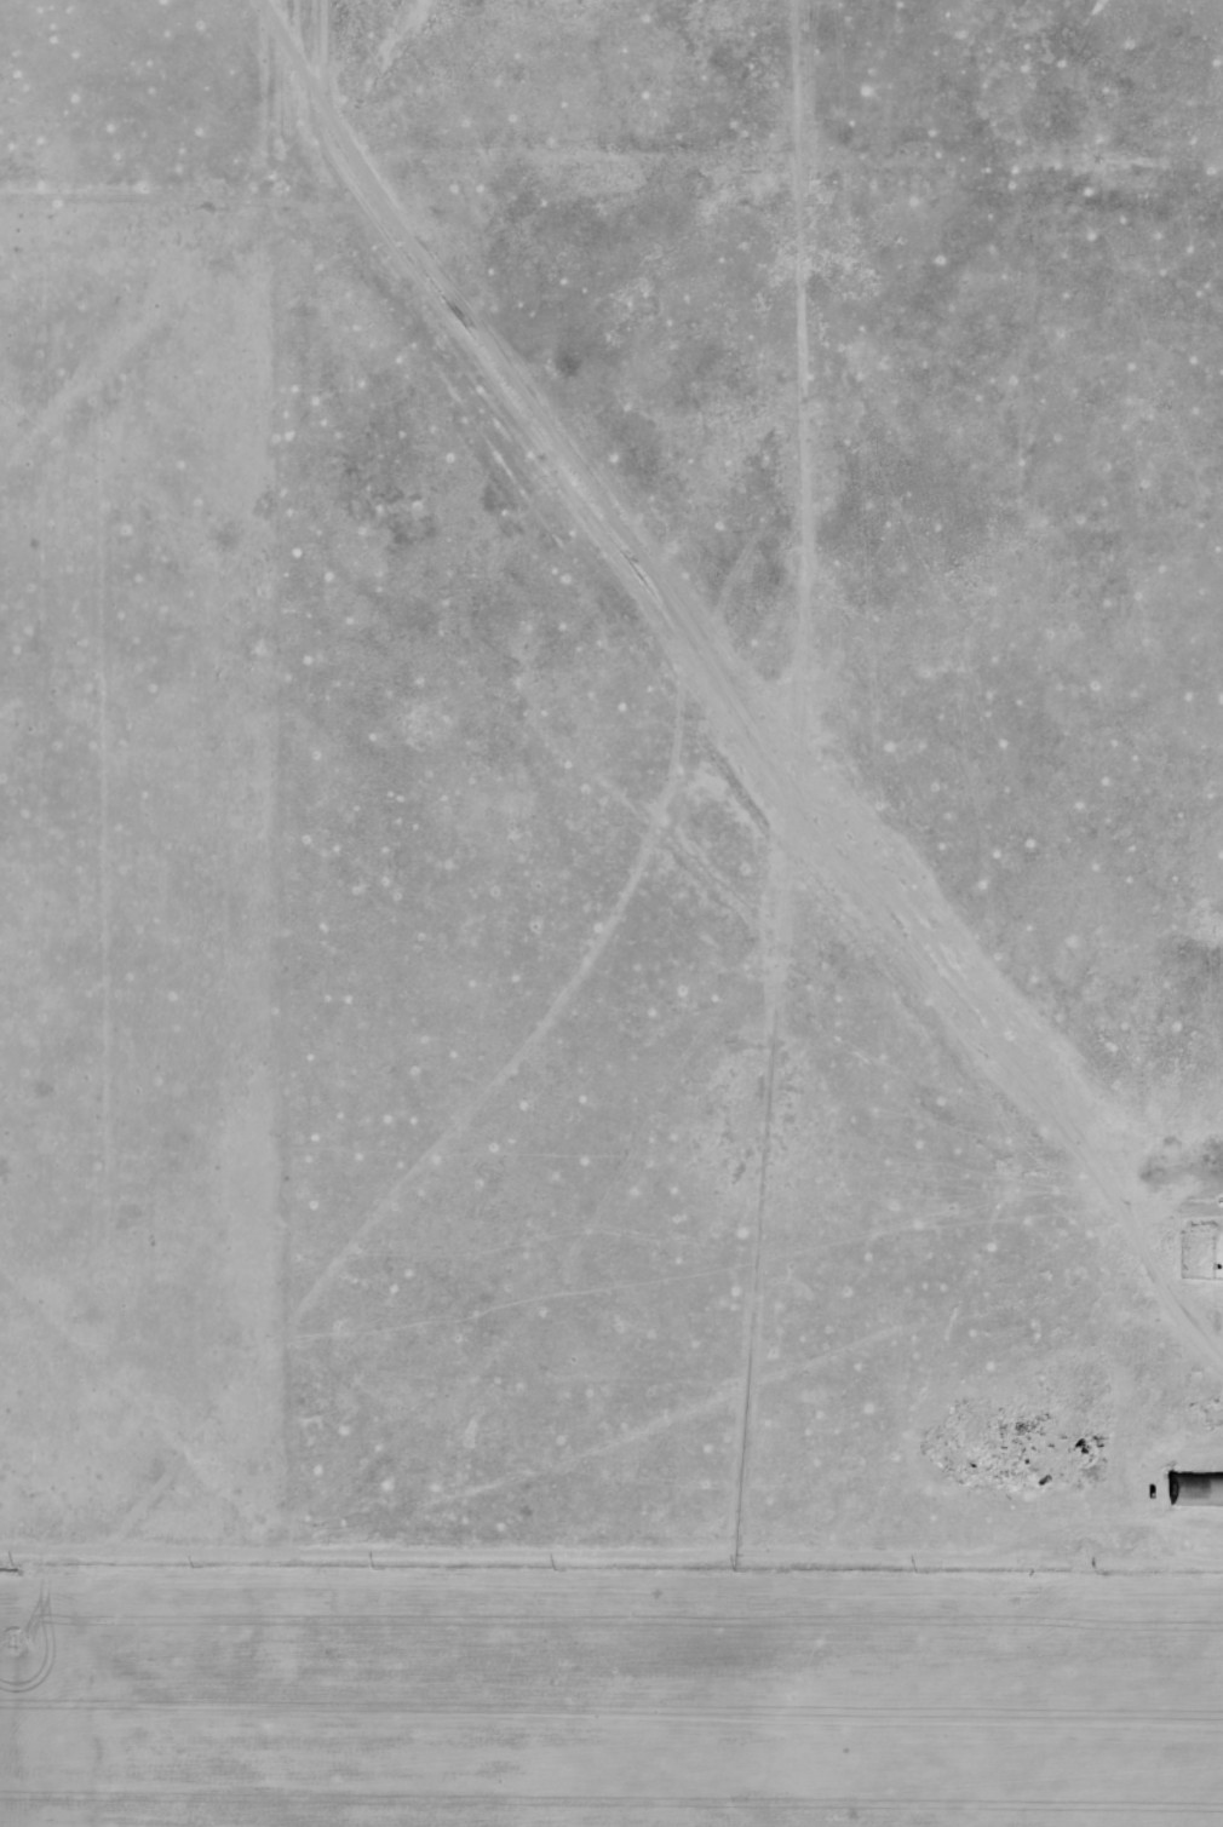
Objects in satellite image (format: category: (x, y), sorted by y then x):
building: (1222, 1486)
building: (1189, 1488)

